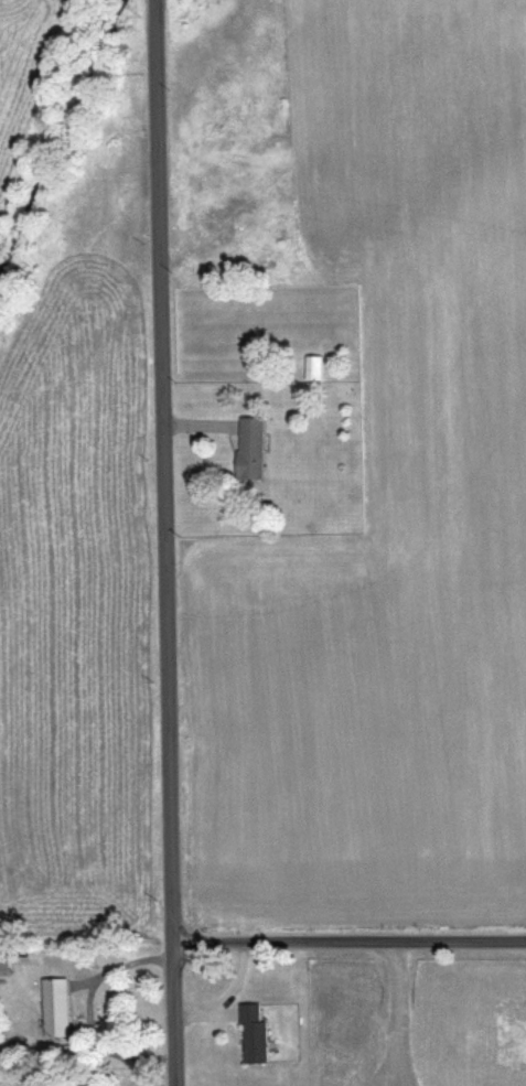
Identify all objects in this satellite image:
building: (314, 366)
building: (251, 447)
road: (168, 542)
road: (351, 939)
building: (4, 961)
road: (229, 994)
building: (57, 1006)
road: (89, 1008)
road: (389, 1012)
building: (255, 1034)

